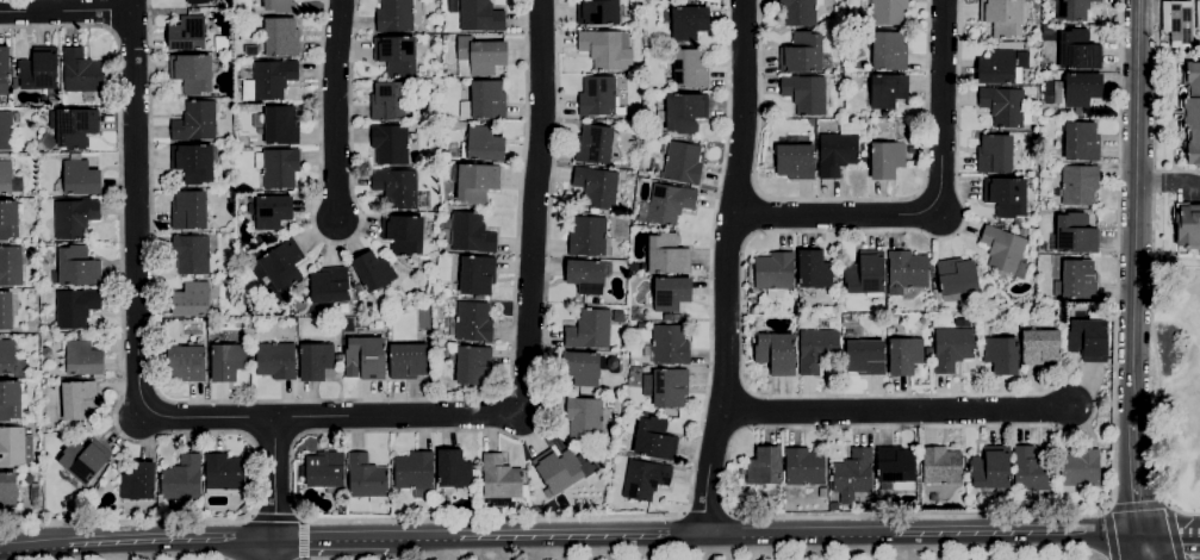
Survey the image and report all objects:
building: (691, 0)
building: (197, 1)
building: (709, 1)
building: (645, 2)
building: (1051, 5)
building: (279, 6)
building: (1072, 10)
road: (66, 11)
building: (884, 11)
building: (599, 12)
building: (797, 12)
road: (110, 14)
building: (1198, 14)
building: (394, 15)
building: (480, 15)
building: (1001, 17)
building: (686, 23)
building: (1177, 24)
building: (1046, 31)
building: (187, 33)
building: (1198, 35)
building: (280, 37)
building: (444, 38)
building: (1163, 46)
building: (607, 49)
building: (1077, 50)
building: (250, 51)
building: (889, 51)
building: (801, 54)
building: (396, 55)
building: (479, 56)
building: (690, 69)
building: (999, 69)
building: (38, 70)
building: (4, 71)
building: (80, 71)
building: (191, 73)
building: (833, 80)
building: (268, 81)
building: (887, 91)
building: (1077, 91)
building: (804, 94)
building: (597, 97)
building: (387, 101)
building: (484, 101)
building: (1002, 107)
road: (334, 110)
building: (1190, 112)
building: (683, 113)
building: (194, 122)
building: (257, 125)
building: (280, 125)
building: (74, 127)
building: (6, 131)
building: (663, 133)
building: (1081, 142)
building: (390, 144)
building: (481, 145)
building: (593, 145)
building: (663, 149)
building: (23, 150)
building: (838, 150)
building: (910, 150)
building: (995, 155)
building: (885, 160)
building: (795, 162)
building: (193, 163)
building: (682, 163)
building: (278, 167)
building: (5, 176)
building: (80, 178)
building: (475, 182)
road: (1168, 183)
building: (1078, 185)
building: (596, 187)
building: (396, 188)
building: (1006, 197)
road: (838, 199)
building: (666, 204)
road: (1134, 210)
building: (188, 211)
building: (271, 211)
road: (940, 211)
building: (74, 218)
building: (8, 219)
building: (1187, 225)
building: (471, 232)
building: (1022, 232)
building: (403, 235)
building: (1075, 235)
building: (589, 237)
building: (259, 241)
road: (335, 244)
building: (1002, 249)
building: (191, 255)
building: (667, 255)
building: (11, 266)
building: (77, 267)
building: (633, 268)
building: (275, 269)
road: (725, 269)
building: (814, 270)
building: (373, 272)
building: (906, 272)
building: (773, 274)
building: (865, 274)
road: (136, 275)
building: (477, 275)
building: (586, 275)
building: (956, 276)
building: (1076, 281)
building: (329, 286)
building: (357, 288)
building: (670, 293)
building: (191, 300)
building: (75, 307)
building: (5, 311)
building: (754, 311)
road: (1151, 315)
building: (666, 317)
building: (676, 318)
building: (473, 323)
building: (641, 326)
building: (590, 330)
building: (1001, 331)
road: (527, 334)
building: (1088, 337)
building: (669, 346)
building: (951, 348)
building: (1039, 348)
building: (815, 350)
building: (927, 351)
building: (775, 353)
building: (1001, 355)
building: (903, 356)
building: (6, 357)
building: (82, 357)
building: (865, 357)
building: (365, 359)
building: (337, 360)
building: (275, 361)
building: (315, 361)
building: (408, 361)
building: (225, 362)
building: (185, 363)
building: (472, 365)
building: (582, 368)
building: (666, 387)
park: (1177, 388)
building: (10, 400)
building: (79, 400)
road: (330, 400)
road: (114, 410)
road: (894, 410)
building: (584, 418)
road: (919, 427)
building: (654, 440)
building: (12, 447)
building: (83, 460)
building: (894, 466)
building: (940, 466)
building: (763, 467)
building: (803, 467)
building: (989, 468)
building: (1080, 468)
building: (453, 469)
building: (323, 471)
building: (559, 471)
building: (1031, 471)
building: (223, 472)
building: (414, 473)
building: (852, 475)
road: (1133, 477)
building: (366, 478)
building: (181, 479)
building: (643, 480)
building: (499, 481)
building: (138, 483)
building: (829, 486)
road: (273, 489)
building: (7, 490)
building: (243, 509)
building: (537, 510)
road: (707, 511)
building: (155, 514)
road: (274, 517)
road: (368, 522)
road: (1167, 535)
road: (761, 537)
road: (303, 539)
road: (330, 541)
road: (170, 543)
road: (33, 547)
road: (1138, 547)

